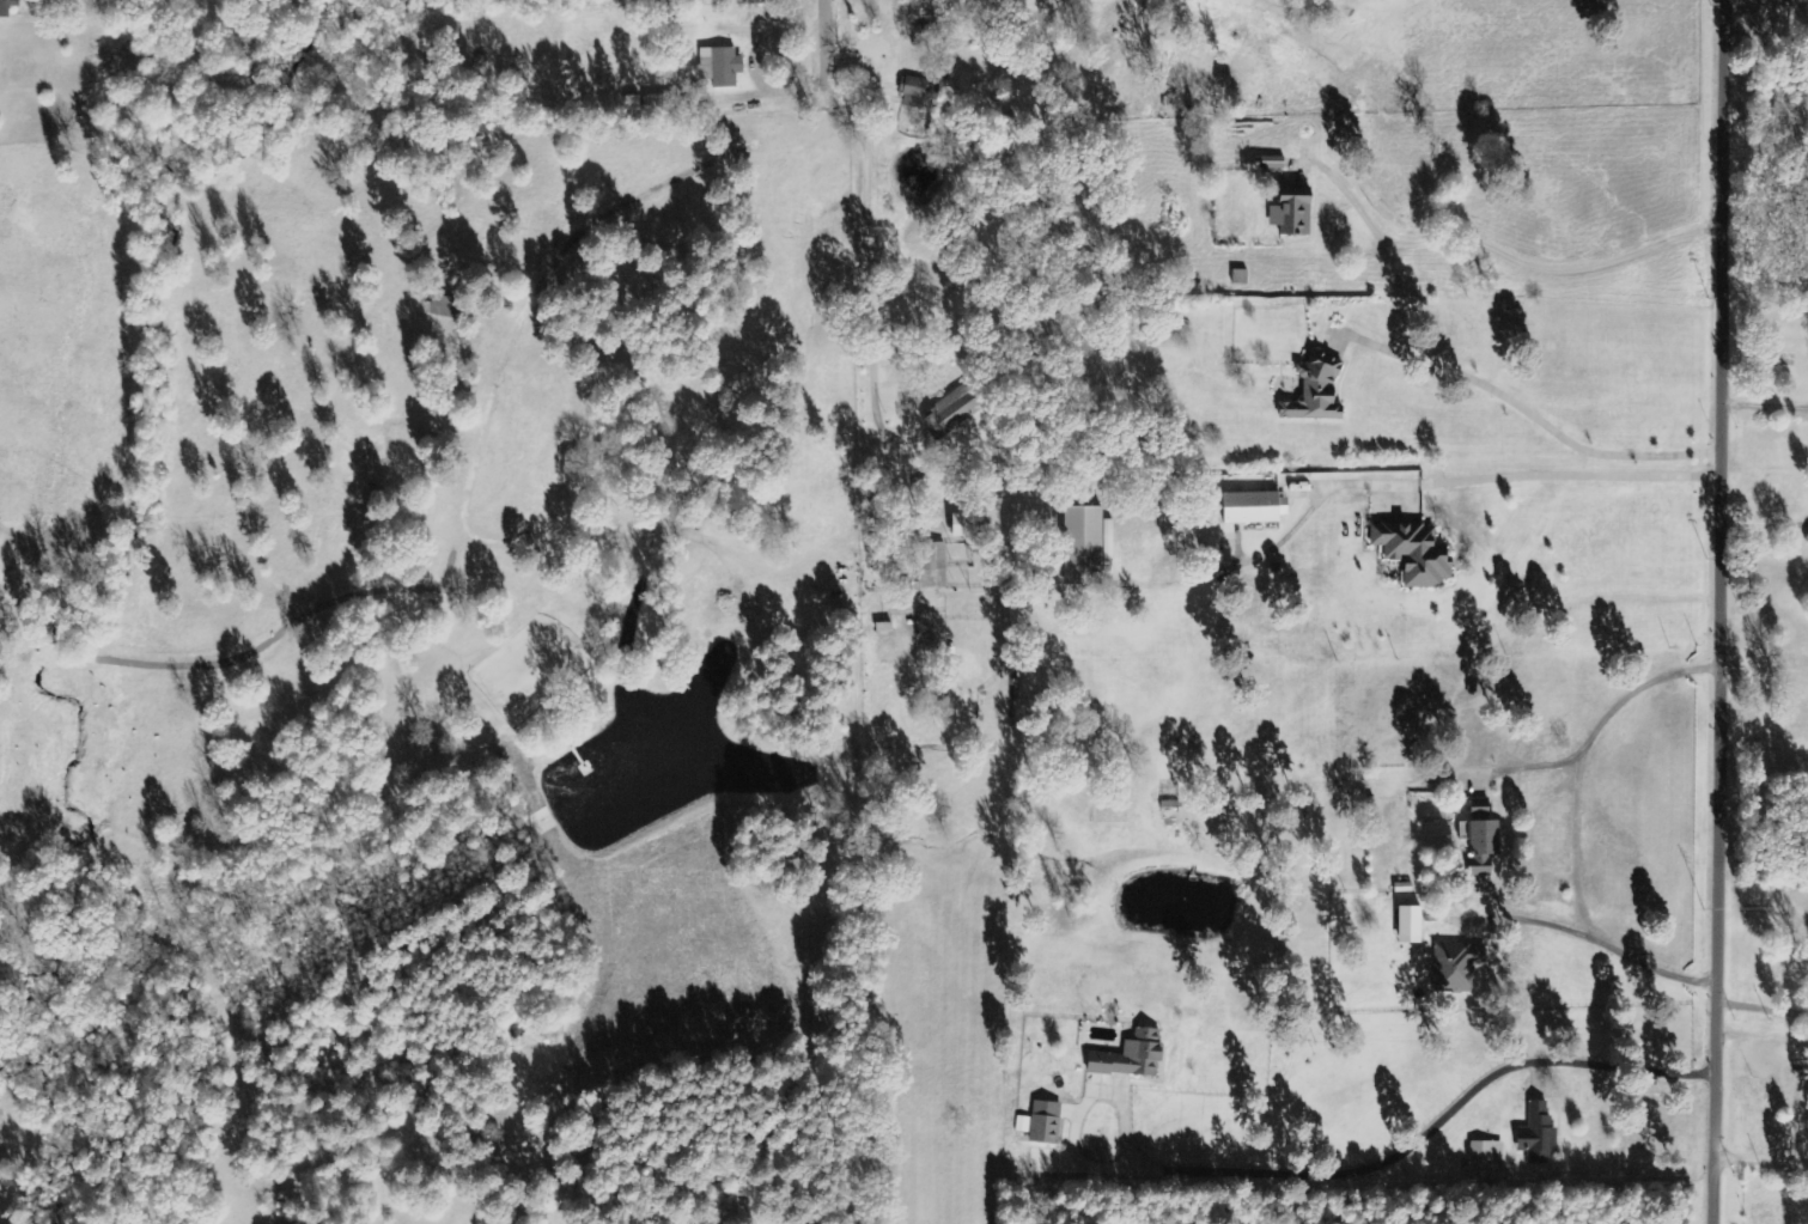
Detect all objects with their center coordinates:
building: (7, 7)
road: (822, 37)
building: (722, 67)
building: (919, 92)
building: (1292, 213)
building: (448, 306)
building: (1316, 391)
building: (952, 413)
building: (1255, 507)
building: (966, 524)
building: (1084, 546)
building: (1414, 553)
building: (931, 567)
road: (1729, 611)
building: (1170, 820)
building: (1404, 888)
building: (1410, 925)
building: (1457, 967)
road: (1769, 1013)
building: (1131, 1056)
building: (1041, 1122)
building: (1539, 1135)
building: (1487, 1157)

